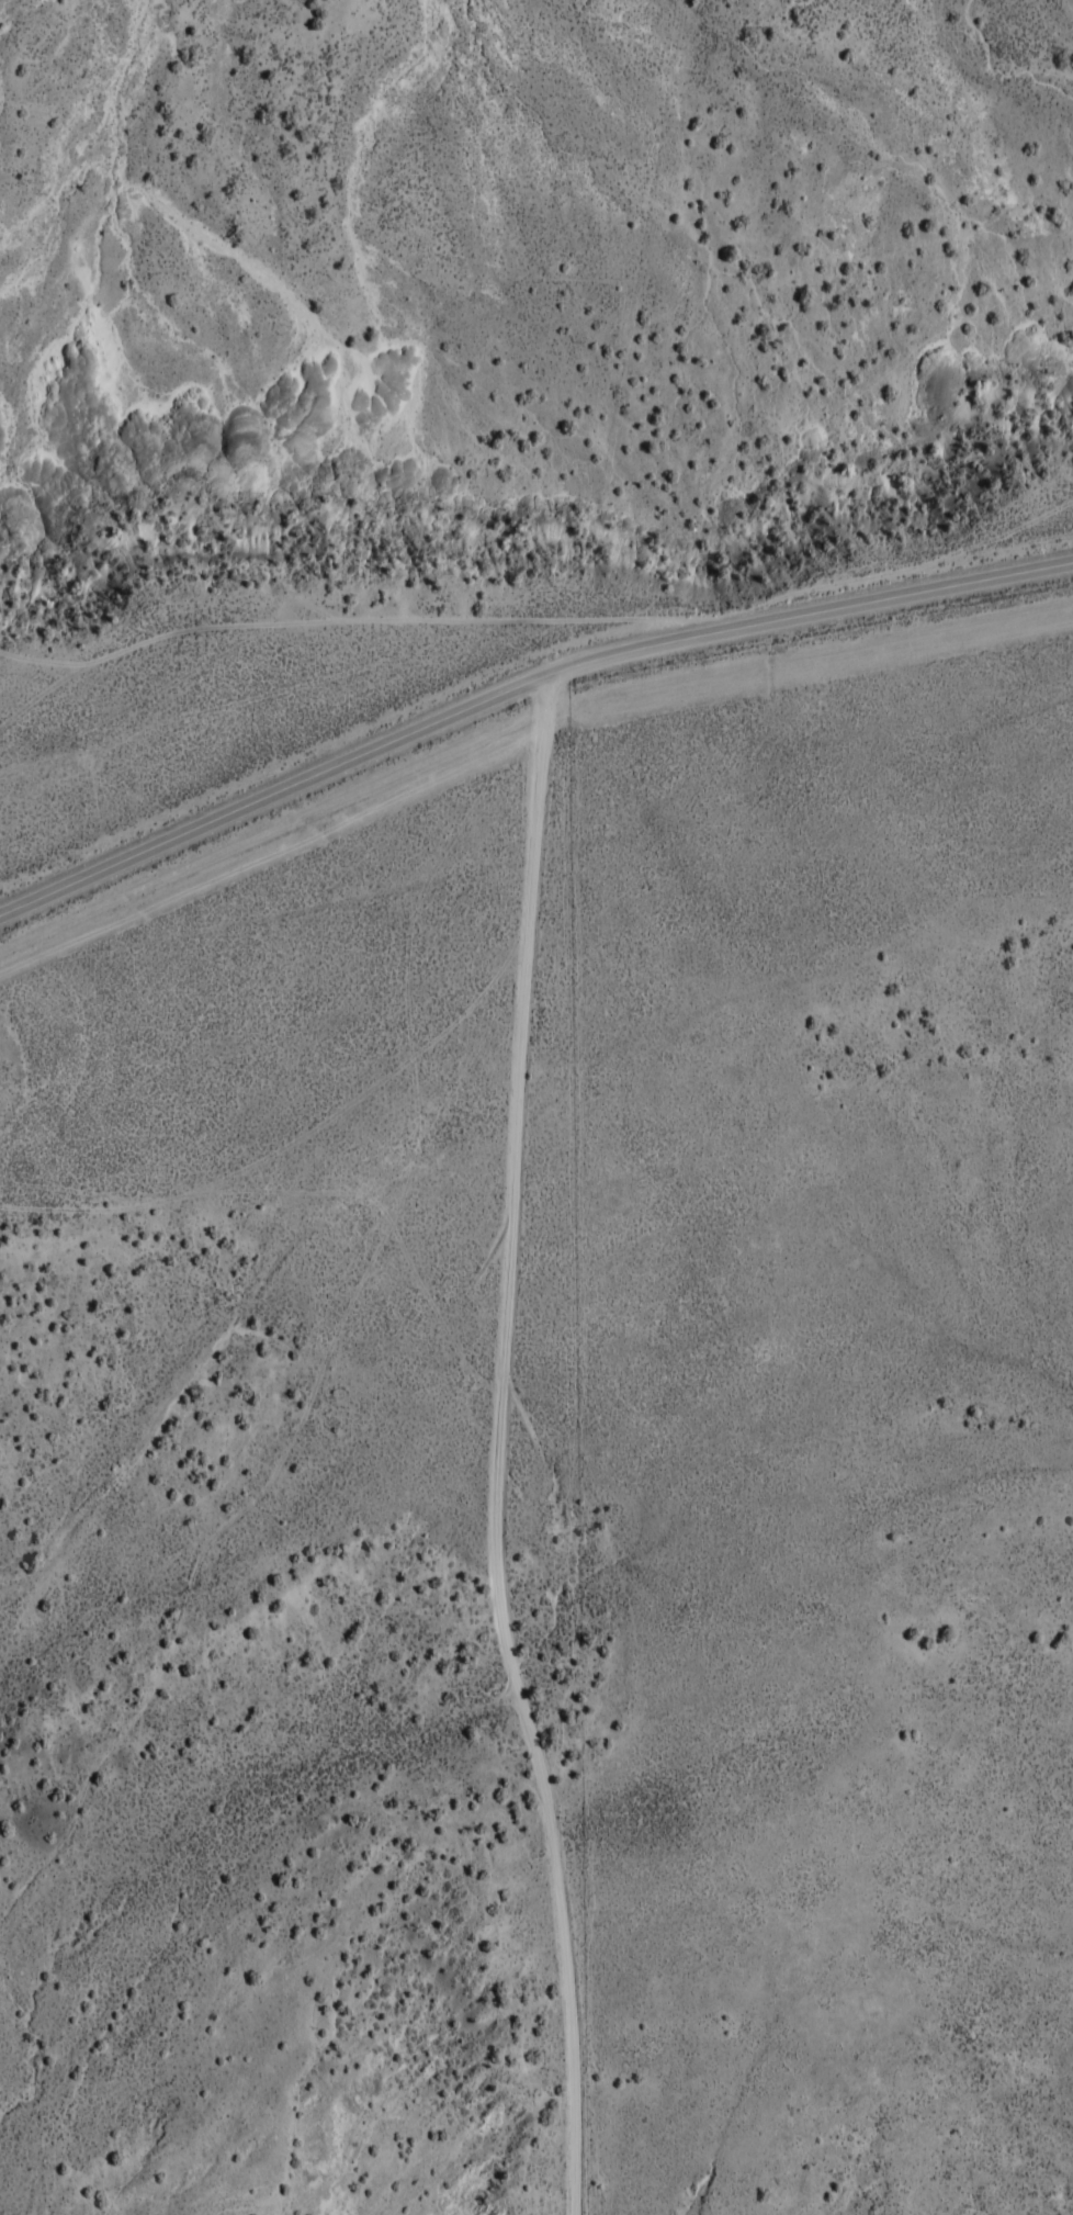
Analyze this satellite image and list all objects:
road: (519, 684)
road: (502, 1446)

